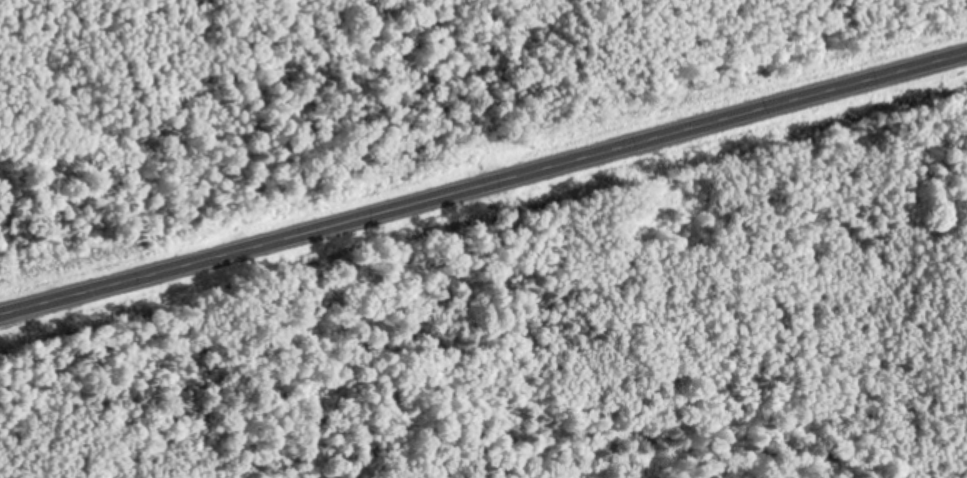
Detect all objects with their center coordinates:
road: (483, 184)

